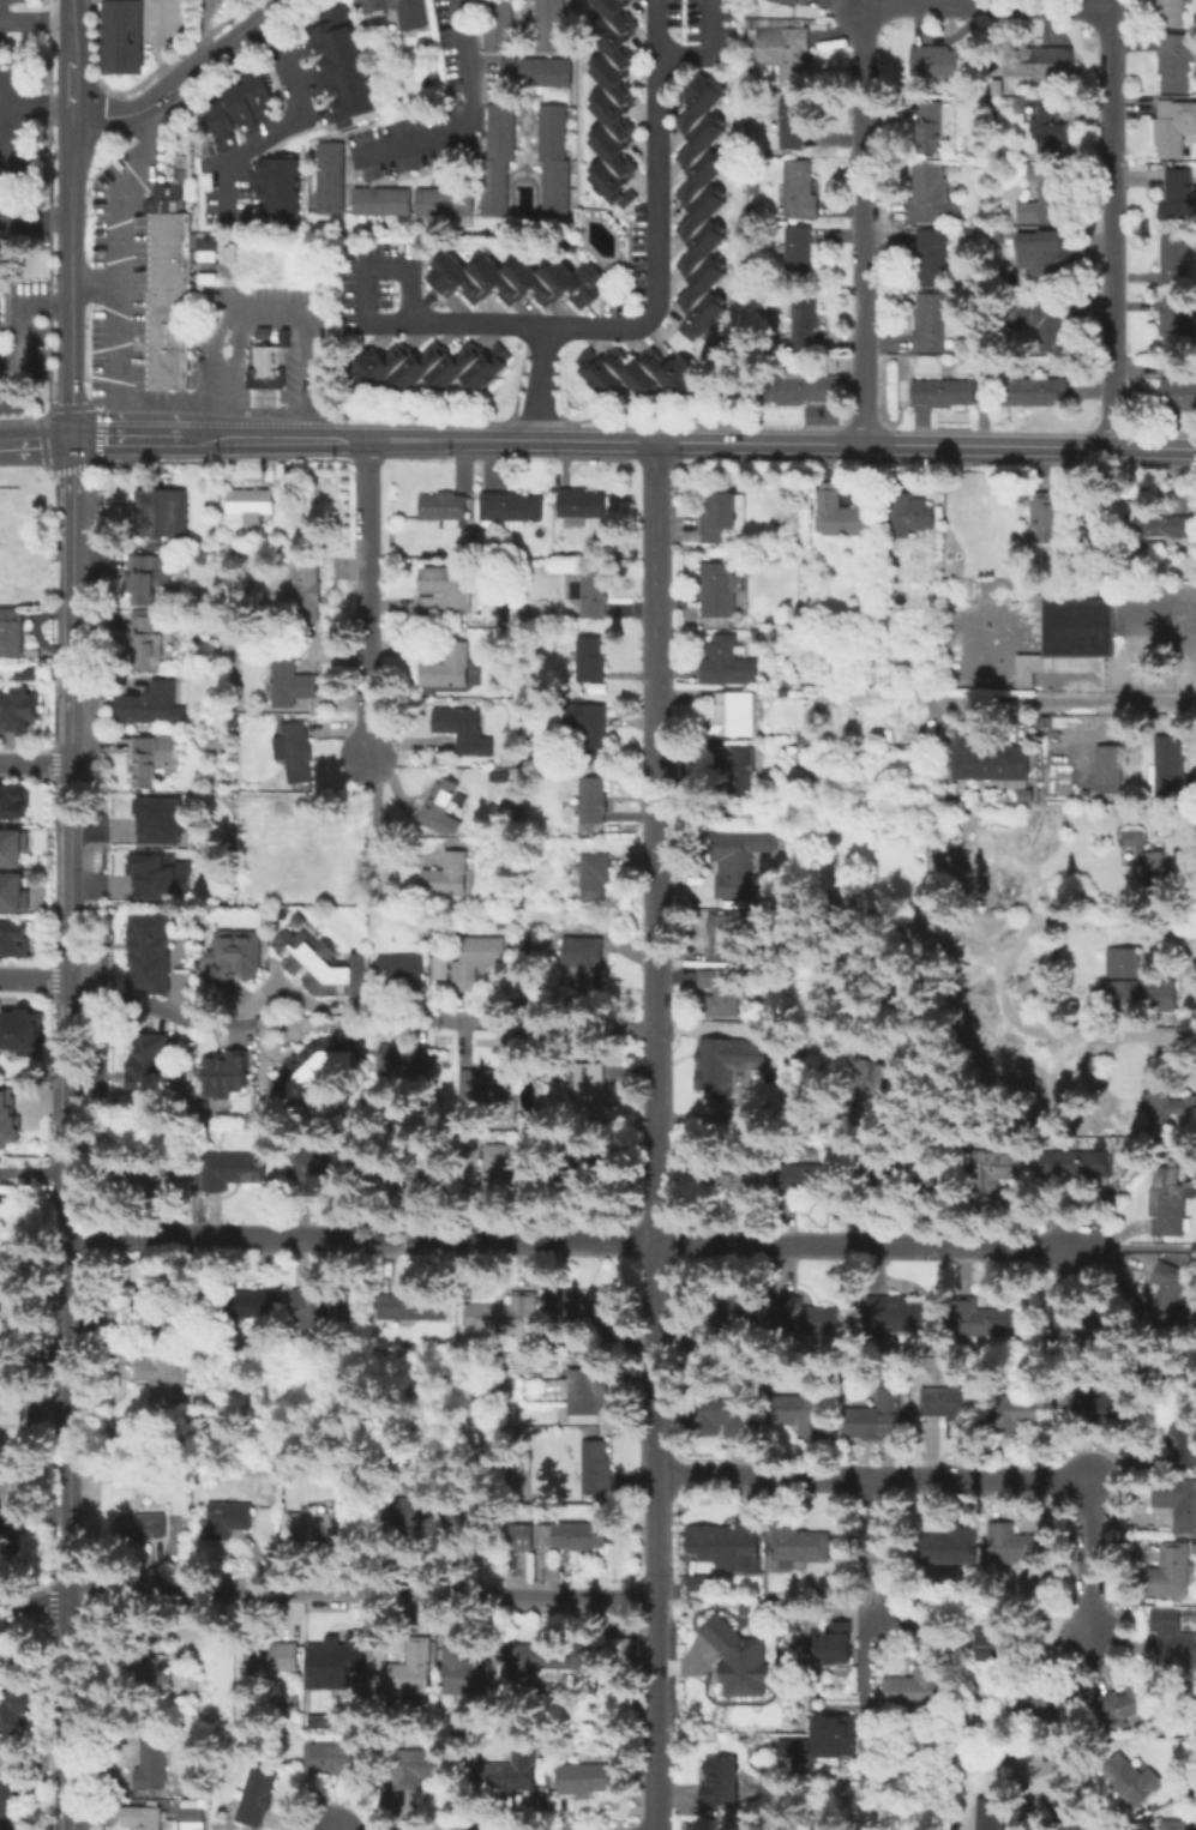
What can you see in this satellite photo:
road: (1038, 1)
building: (785, 2)
building: (397, 11)
building: (1172, 13)
building: (546, 24)
building: (495, 25)
road: (35, 26)
road: (657, 26)
building: (125, 38)
road: (160, 44)
road: (708, 52)
building: (785, 54)
road: (71, 58)
building: (1038, 60)
building: (939, 61)
building: (338, 62)
building: (1178, 62)
building: (539, 72)
road: (181, 77)
building: (609, 100)
building: (239, 108)
road: (471, 113)
road: (294, 121)
building: (792, 126)
building: (1048, 126)
building: (1176, 128)
building: (931, 131)
road: (8, 157)
building: (495, 158)
building: (551, 163)
building: (329, 177)
building: (272, 191)
building: (798, 193)
building: (1045, 197)
building: (161, 198)
building: (931, 198)
building: (1178, 198)
road: (4, 199)
building: (380, 200)
building: (441, 201)
building: (698, 205)
road: (864, 218)
building: (168, 221)
road: (1112, 223)
building: (168, 236)
road: (654, 239)
building: (168, 252)
building: (798, 252)
building: (1044, 257)
building: (932, 260)
building: (1176, 260)
road: (114, 265)
building: (168, 267)
road: (72, 277)
building: (516, 278)
building: (168, 283)
road: (94, 288)
road: (260, 307)
road: (20, 315)
building: (1044, 321)
road: (380, 323)
building: (806, 323)
building: (931, 323)
building: (1176, 326)
building: (167, 342)
building: (829, 363)
road: (831, 365)
road: (849, 365)
building: (429, 366)
building: (264, 368)
building: (636, 372)
road: (20, 380)
road: (543, 384)
building: (800, 389)
building: (1038, 393)
building: (1179, 393)
building: (945, 396)
road: (819, 426)
road: (35, 439)
road: (142, 439)
road: (262, 440)
road: (338, 440)
road: (511, 440)
road: (873, 445)
road: (1143, 449)
building: (252, 504)
building: (443, 508)
building: (583, 508)
building: (509, 512)
building: (162, 514)
building: (907, 516)
building: (841, 518)
building: (723, 519)
building: (1054, 519)
building: (1159, 526)
building: (146, 579)
building: (445, 591)
building: (306, 592)
building: (717, 595)
road: (367, 597)
building: (591, 598)
road: (72, 601)
road: (1124, 609)
building: (11, 637)
building: (1074, 642)
building: (145, 643)
building: (590, 661)
building: (727, 664)
building: (449, 667)
building: (23, 674)
building: (289, 681)
building: (599, 690)
road: (1070, 698)
building: (156, 705)
building: (22, 710)
building: (738, 716)
building: (588, 730)
building: (463, 732)
building: (298, 753)
building: (151, 759)
building: (986, 763)
road: (35, 764)
building: (1106, 767)
building: (737, 769)
building: (1171, 771)
building: (13, 800)
building: (591, 801)
building: (440, 807)
building: (158, 820)
building: (12, 847)
building: (1147, 857)
building: (735, 869)
road: (71, 872)
building: (594, 875)
building: (158, 877)
building: (447, 877)
building: (12, 892)
building: (723, 937)
building: (16, 940)
building: (528, 945)
building: (150, 952)
building: (477, 957)
building: (232, 958)
building: (585, 959)
building: (321, 963)
building: (1126, 963)
building: (402, 969)
road: (36, 977)
building: (722, 994)
building: (1142, 998)
road: (152, 1005)
road: (555, 1027)
building: (17, 1030)
building: (398, 1061)
building: (150, 1066)
building: (318, 1068)
building: (226, 1076)
building: (715, 1078)
building: (877, 1080)
building: (482, 1085)
building: (590, 1088)
building: (1168, 1108)
building: (8, 1121)
road: (657, 1136)
building: (314, 1164)
building: (504, 1166)
building: (590, 1166)
building: (1070, 1167)
building: (162, 1168)
road: (36, 1170)
building: (997, 1170)
building: (233, 1173)
building: (732, 1173)
building: (408, 1176)
building: (811, 1176)
building: (909, 1179)
road: (36, 1192)
building: (1166, 1204)
road: (579, 1241)
road: (1141, 1246)
building: (0, 1268)
building: (1167, 1293)
building: (248, 1306)
building: (415, 1306)
building: (146, 1308)
building: (311, 1311)
building: (587, 1314)
building: (728, 1314)
building: (902, 1314)
building: (505, 1316)
building: (804, 1317)
building: (984, 1319)
building: (1080, 1332)
building: (162, 1379)
building: (588, 1391)
road: (72, 1404)
building: (951, 1408)
building: (800, 1411)
building: (727, 1415)
building: (878, 1415)
building: (1026, 1415)
road: (1142, 1416)
building: (10, 1433)
building: (597, 1468)
road: (956, 1475)
building: (1178, 1501)
building: (409, 1510)
building: (464, 1517)
building: (228, 1519)
building: (143, 1527)
building: (323, 1527)
road: (875, 1534)
building: (573, 1535)
building: (518, 1536)
building: (8, 1539)
building: (795, 1545)
building: (1014, 1546)
building: (952, 1547)
building: (731, 1549)
building: (1167, 1575)
road: (326, 1594)
building: (726, 1627)
building: (1172, 1639)
building: (835, 1645)
building: (998, 1648)
building: (621, 1650)
road: (865, 1651)
building: (274, 1661)
building: (545, 1661)
building: (342, 1663)
building: (411, 1672)
building: (734, 1673)
building: (149, 1674)
building: (467, 1675)
building: (175, 1678)
building: (194, 1682)
building: (910, 1688)
building: (1136, 1702)
building: (13, 1715)
building: (822, 1738)
building: (332, 1757)
building: (1052, 1766)
building: (152, 1769)
building: (419, 1769)
building: (511, 1777)
building: (587, 1781)
building: (1132, 1783)
building: (722, 1784)
building: (256, 1799)
building: (16, 1805)
building: (190, 1814)
building: (988, 1814)
building: (138, 1817)
building: (1176, 1825)

